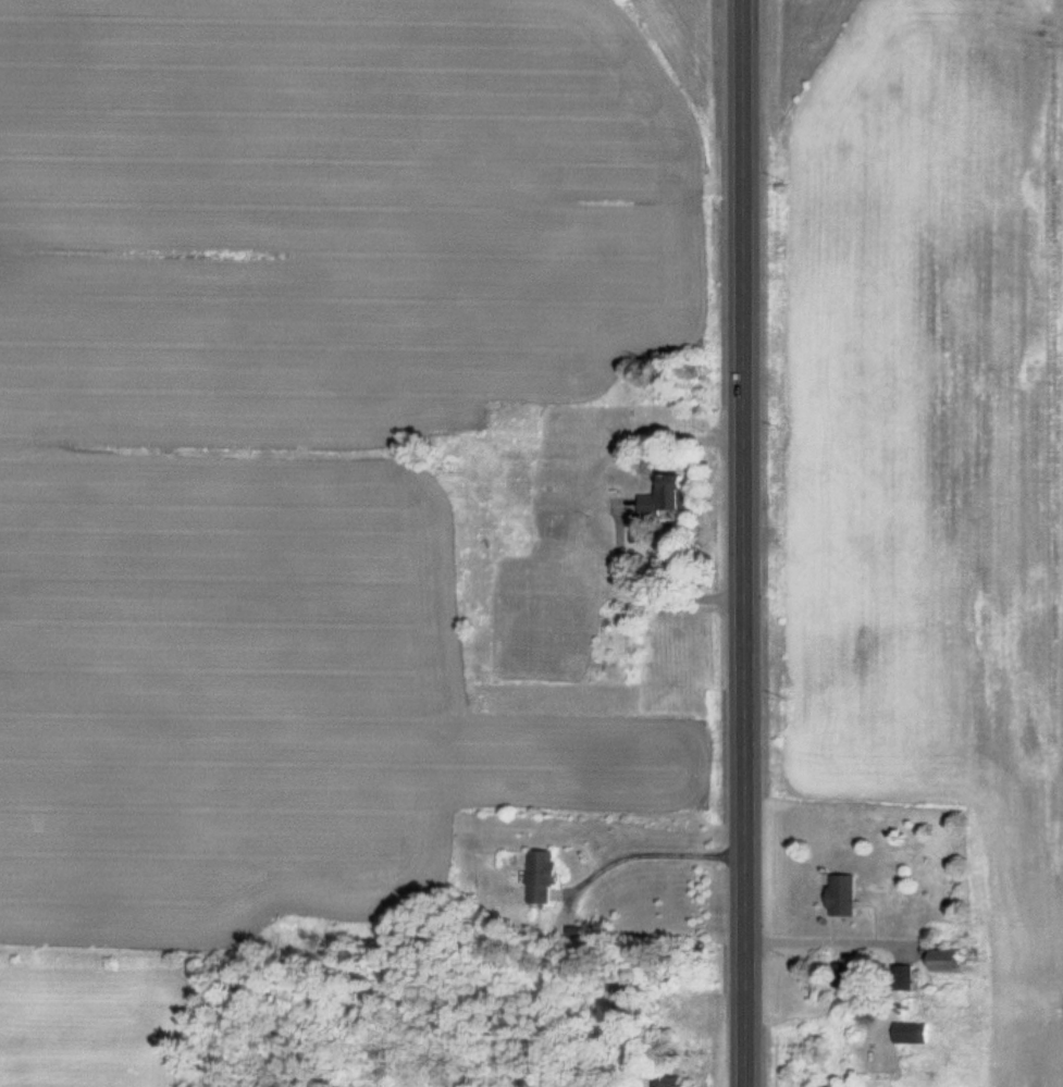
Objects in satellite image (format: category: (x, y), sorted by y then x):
building: (673, 495)
road: (749, 543)
building: (548, 875)
building: (850, 893)
building: (955, 959)
building: (915, 1032)
building: (673, 1083)

